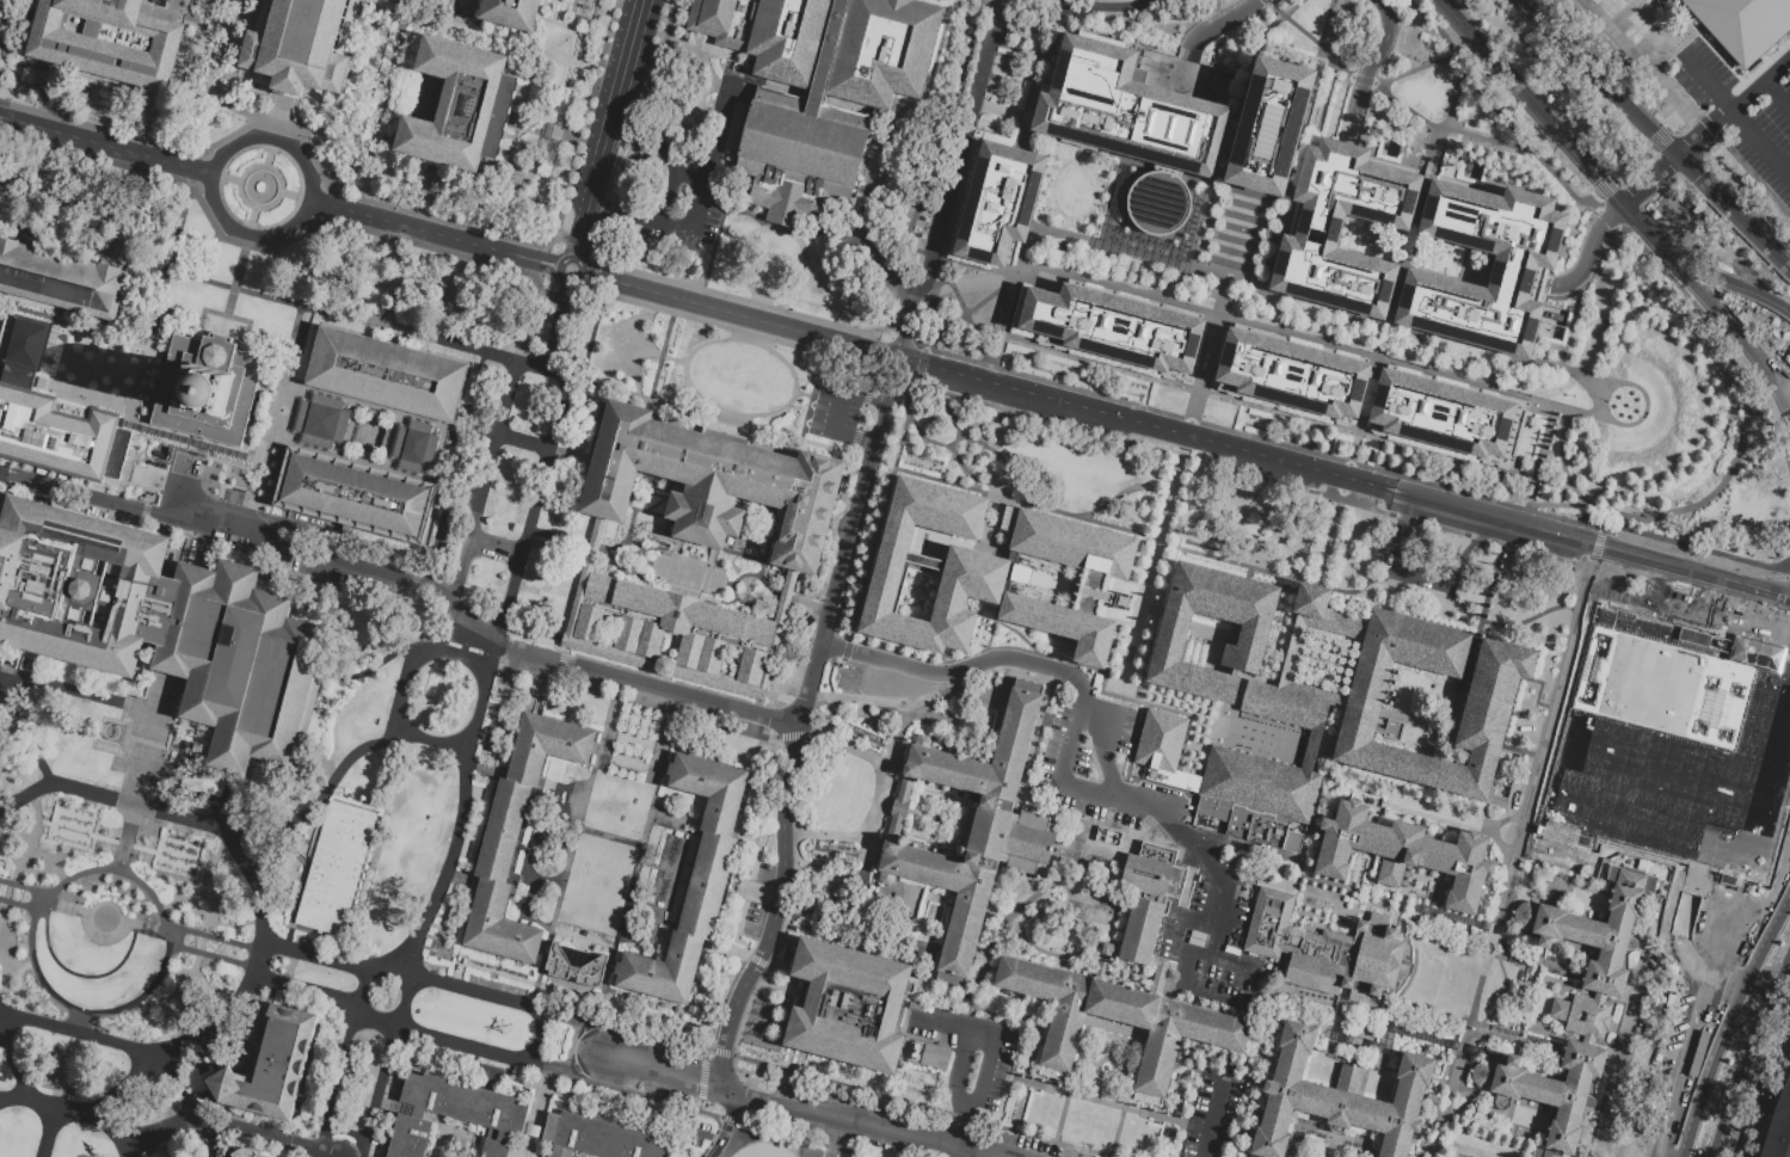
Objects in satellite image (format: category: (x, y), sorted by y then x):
road: (1100, 6)
road: (1545, 8)
building: (505, 12)
road: (1282, 14)
road: (1177, 16)
road: (1069, 17)
road: (1324, 21)
road: (1212, 23)
building: (1743, 25)
road: (1440, 33)
road: (1309, 36)
building: (109, 41)
building: (826, 43)
building: (306, 47)
road: (972, 48)
road: (187, 57)
road: (1643, 59)
road: (1367, 67)
road: (55, 69)
road: (1413, 69)
road: (1360, 79)
road: (1777, 92)
building: (1085, 97)
road: (1734, 105)
road: (1450, 107)
building: (461, 109)
road: (613, 110)
road: (1678, 119)
road: (1736, 122)
road: (640, 123)
road: (97, 125)
road: (273, 125)
road: (1708, 125)
road: (718, 127)
building: (1267, 131)
road: (1655, 134)
road: (270, 139)
road: (1532, 139)
road: (1657, 139)
road: (1041, 140)
building: (795, 141)
road: (577, 143)
road: (104, 144)
road: (1058, 154)
road: (94, 155)
road: (267, 156)
building: (1168, 158)
road: (1630, 164)
road: (191, 166)
road: (1598, 176)
road: (224, 177)
road: (946, 177)
road: (1753, 177)
road: (1650, 179)
fountain: (258, 185)
road: (1604, 186)
parking lot: (691, 190)
road: (668, 191)
road: (288, 192)
road: (277, 197)
road: (1592, 197)
building: (782, 201)
road: (325, 203)
road: (696, 203)
building: (997, 204)
road: (1297, 204)
road: (733, 208)
road: (202, 209)
road: (439, 217)
road: (1071, 219)
road: (1606, 219)
road: (250, 220)
road: (777, 226)
building: (1317, 227)
road: (779, 228)
road: (1199, 229)
road: (437, 232)
road: (1071, 232)
road: (245, 233)
road: (295, 234)
road: (576, 236)
road: (242, 242)
road: (577, 244)
parking lot: (1417, 245)
road: (432, 246)
road: (1273, 248)
road: (1021, 252)
road: (1589, 253)
road: (592, 257)
road: (168, 260)
road: (1108, 266)
building: (1512, 272)
road: (233, 281)
building: (60, 283)
road: (309, 284)
road: (585, 287)
road: (564, 294)
road: (259, 295)
road: (737, 299)
road: (758, 299)
road: (1574, 301)
road: (1220, 304)
road: (1292, 304)
road: (971, 306)
road: (554, 319)
road: (966, 319)
road: (1386, 321)
road: (1260, 322)
road: (528, 326)
building: (1112, 330)
road: (1567, 334)
road: (749, 337)
road: (1715, 337)
road: (580, 341)
road: (1562, 356)
street lamp: (1569, 362)
road: (885, 365)
building: (385, 371)
road: (545, 371)
road: (283, 375)
road: (137, 376)
road: (980, 376)
building: (1291, 379)
road: (1587, 382)
building: (204, 388)
road: (792, 390)
street lamp: (1571, 395)
road: (1644, 395)
road: (810, 399)
road: (823, 407)
road: (131, 408)
road: (837, 408)
building: (45, 410)
road: (562, 413)
parking lot: (837, 416)
road: (133, 417)
road: (728, 418)
building: (1440, 418)
building: (319, 419)
road: (444, 423)
road: (451, 425)
road: (818, 425)
road: (1186, 435)
road: (486, 436)
road: (525, 439)
road: (193, 442)
building: (412, 444)
road: (1336, 457)
building: (614, 460)
road: (125, 464)
road: (251, 464)
road: (8, 473)
road: (1346, 475)
building: (712, 478)
road: (485, 479)
road: (1569, 481)
road: (436, 482)
road: (546, 482)
road: (472, 492)
road: (217, 494)
building: (352, 494)
road: (1692, 503)
building: (805, 511)
road: (1380, 512)
road: (1579, 535)
road: (531, 537)
road: (847, 539)
road: (498, 548)
road: (1598, 561)
road: (1613, 565)
road: (1154, 566)
parking lot: (318, 572)
building: (972, 573)
road: (1789, 573)
road: (1655, 577)
road: (1417, 578)
road: (1588, 579)
building: (1095, 581)
building: (80, 584)
road: (418, 584)
road: (1699, 587)
road: (1776, 589)
road: (518, 591)
road: (1716, 591)
road: (1776, 593)
road: (1686, 605)
building: (673, 620)
road: (531, 628)
road: (497, 633)
road: (404, 650)
road: (1569, 652)
road: (463, 657)
building: (240, 664)
road: (584, 679)
road: (61, 687)
road: (402, 690)
road: (1106, 697)
building: (1328, 704)
road: (159, 706)
road: (143, 708)
road: (855, 710)
road: (1088, 713)
road: (737, 725)
road: (904, 727)
road: (814, 730)
road: (24, 731)
fountain: (110, 731)
road: (429, 740)
street lamp: (413, 745)
building: (1671, 747)
road: (32, 749)
building: (1162, 750)
road: (109, 761)
parking lot: (1096, 764)
road: (1060, 769)
building: (211, 786)
street lamp: (55, 794)
road: (63, 794)
road: (318, 795)
road: (98, 802)
street lamp: (26, 806)
street lamp: (106, 807)
road: (133, 808)
road: (461, 813)
road: (45, 821)
street lamp: (161, 821)
road: (168, 821)
building: (979, 826)
road: (203, 831)
road: (608, 835)
street lamp: (210, 836)
building: (516, 836)
road: (758, 836)
road: (124, 842)
road: (867, 842)
road: (571, 847)
road: (527, 849)
road: (20, 854)
park: (1079, 854)
road: (48, 857)
street lamp: (229, 858)
road: (635, 860)
building: (1403, 861)
road: (203, 866)
building: (336, 868)
parking lot: (762, 873)
street lamp: (7, 875)
building: (691, 884)
road: (23, 886)
road: (184, 894)
road: (1349, 896)
road: (47, 901)
road: (20, 904)
street lamp: (251, 905)
road: (780, 907)
park: (1090, 907)
road: (102, 916)
parking lot: (751, 918)
road: (30, 922)
road: (233, 924)
road: (260, 925)
road: (203, 927)
building: (1593, 928)
street lamp: (210, 930)
road: (162, 931)
street lamp: (427, 931)
road: (216, 936)
road: (582, 936)
street lamp: (241, 938)
road: (730, 953)
building: (1325, 953)
road: (5, 954)
road: (209, 955)
road: (314, 959)
building: (574, 964)
road: (485, 968)
road: (1249, 968)
road: (14, 972)
road: (76, 973)
road: (306, 986)
road: (467, 989)
building: (1127, 990)
road: (1508, 995)
road: (1715, 995)
road: (1735, 995)
road: (565, 997)
street lamp: (16, 1005)
building: (847, 1005)
road: (401, 1009)
street lamp: (53, 1015)
road: (78, 1017)
road: (573, 1017)
road: (953, 1020)
building: (1586, 1020)
road: (161, 1022)
road: (985, 1027)
street lamp: (106, 1030)
road: (537, 1035)
street lamp: (140, 1039)
road: (499, 1052)
road: (1745, 1052)
road: (703, 1054)
building: (934, 1056)
street lamp: (496, 1064)
building: (272, 1065)
road: (658, 1069)
road: (84, 1071)
road: (21, 1076)
road: (1758, 1076)
road: (701, 1079)
road: (334, 1081)
road: (843, 1084)
road: (725, 1087)
road: (375, 1090)
road: (1071, 1094)
building: (1339, 1096)
building: (1549, 1096)
road: (119, 1101)
road: (697, 1104)
road: (1016, 1104)
road: (56, 1106)
building: (467, 1106)
road: (535, 1112)
street lamp: (32, 1115)
parking lot: (1212, 1115)
road: (720, 1116)
road: (1060, 1116)
road: (845, 1118)
road: (96, 1122)
road: (725, 1122)
road: (1211, 1122)
road: (224, 1124)
building: (1778, 1124)
street lamp: (69, 1125)
road: (961, 1125)
road: (1117, 1131)
road: (1686, 1131)
road: (49, 1134)
parking lot: (701, 1136)
road: (705, 1136)
building: (408, 1137)
building: (599, 1137)
road: (836, 1137)
road: (1331, 1140)
road: (131, 1144)
parking lot: (1040, 1146)
park: (763, 1151)
road: (977, 1151)
road: (1078, 1152)
building: (248, 1155)
park: (1462, 1155)
road: (709, 1156)
building: (1374, 1156)

